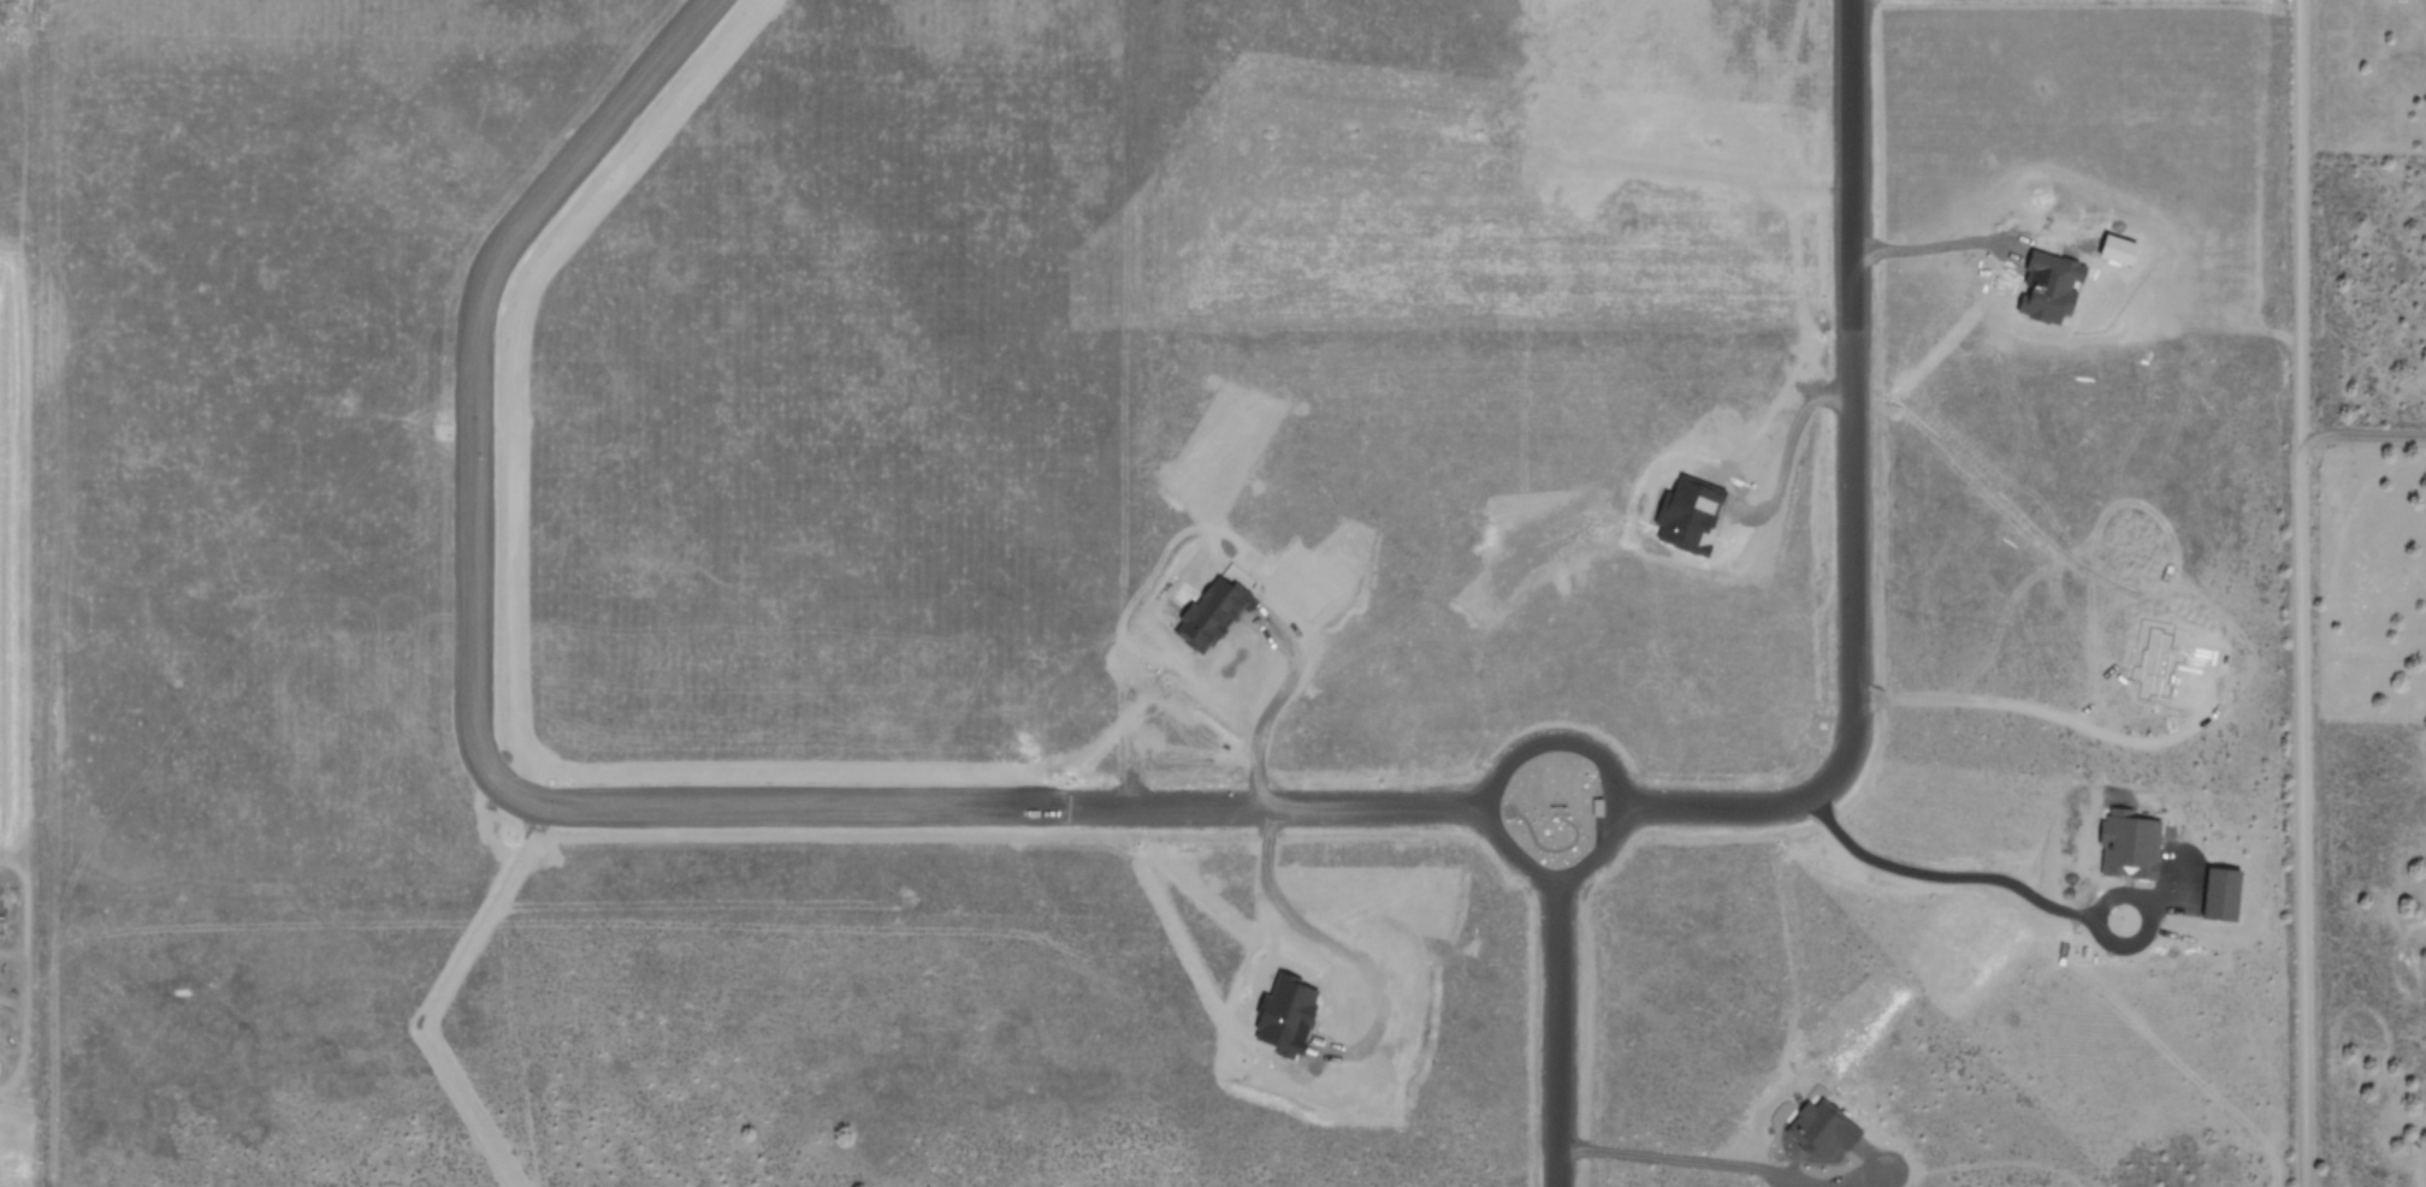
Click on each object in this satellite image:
building: (2048, 285)
building: (1691, 516)
road: (2301, 593)
road: (1785, 818)
road: (1373, 821)
building: (2131, 845)
building: (2224, 895)
building: (1288, 1016)
building: (1823, 1130)

